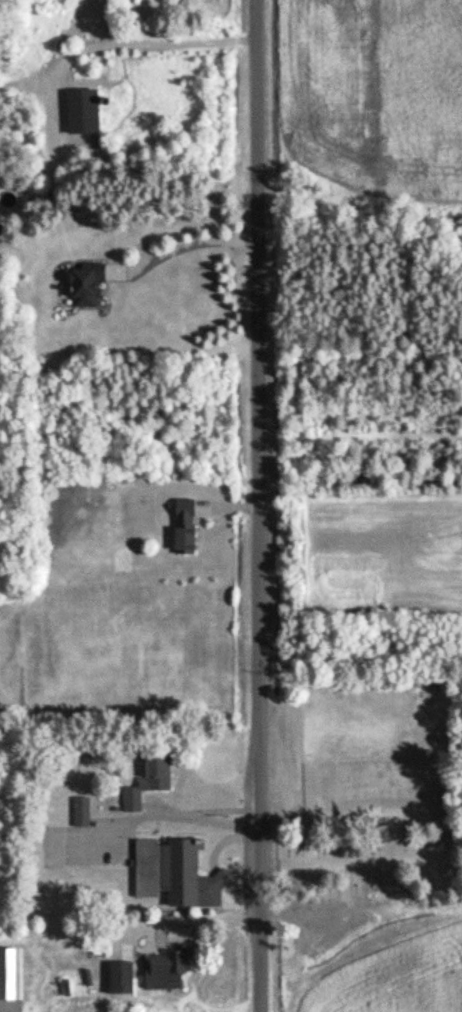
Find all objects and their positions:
road: (126, 42)
building: (77, 111)
building: (80, 284)
road: (258, 506)
building: (179, 526)
building: (145, 781)
building: (79, 812)
building: (172, 873)
road: (205, 917)
building: (161, 970)
building: (118, 977)
building: (9, 980)

